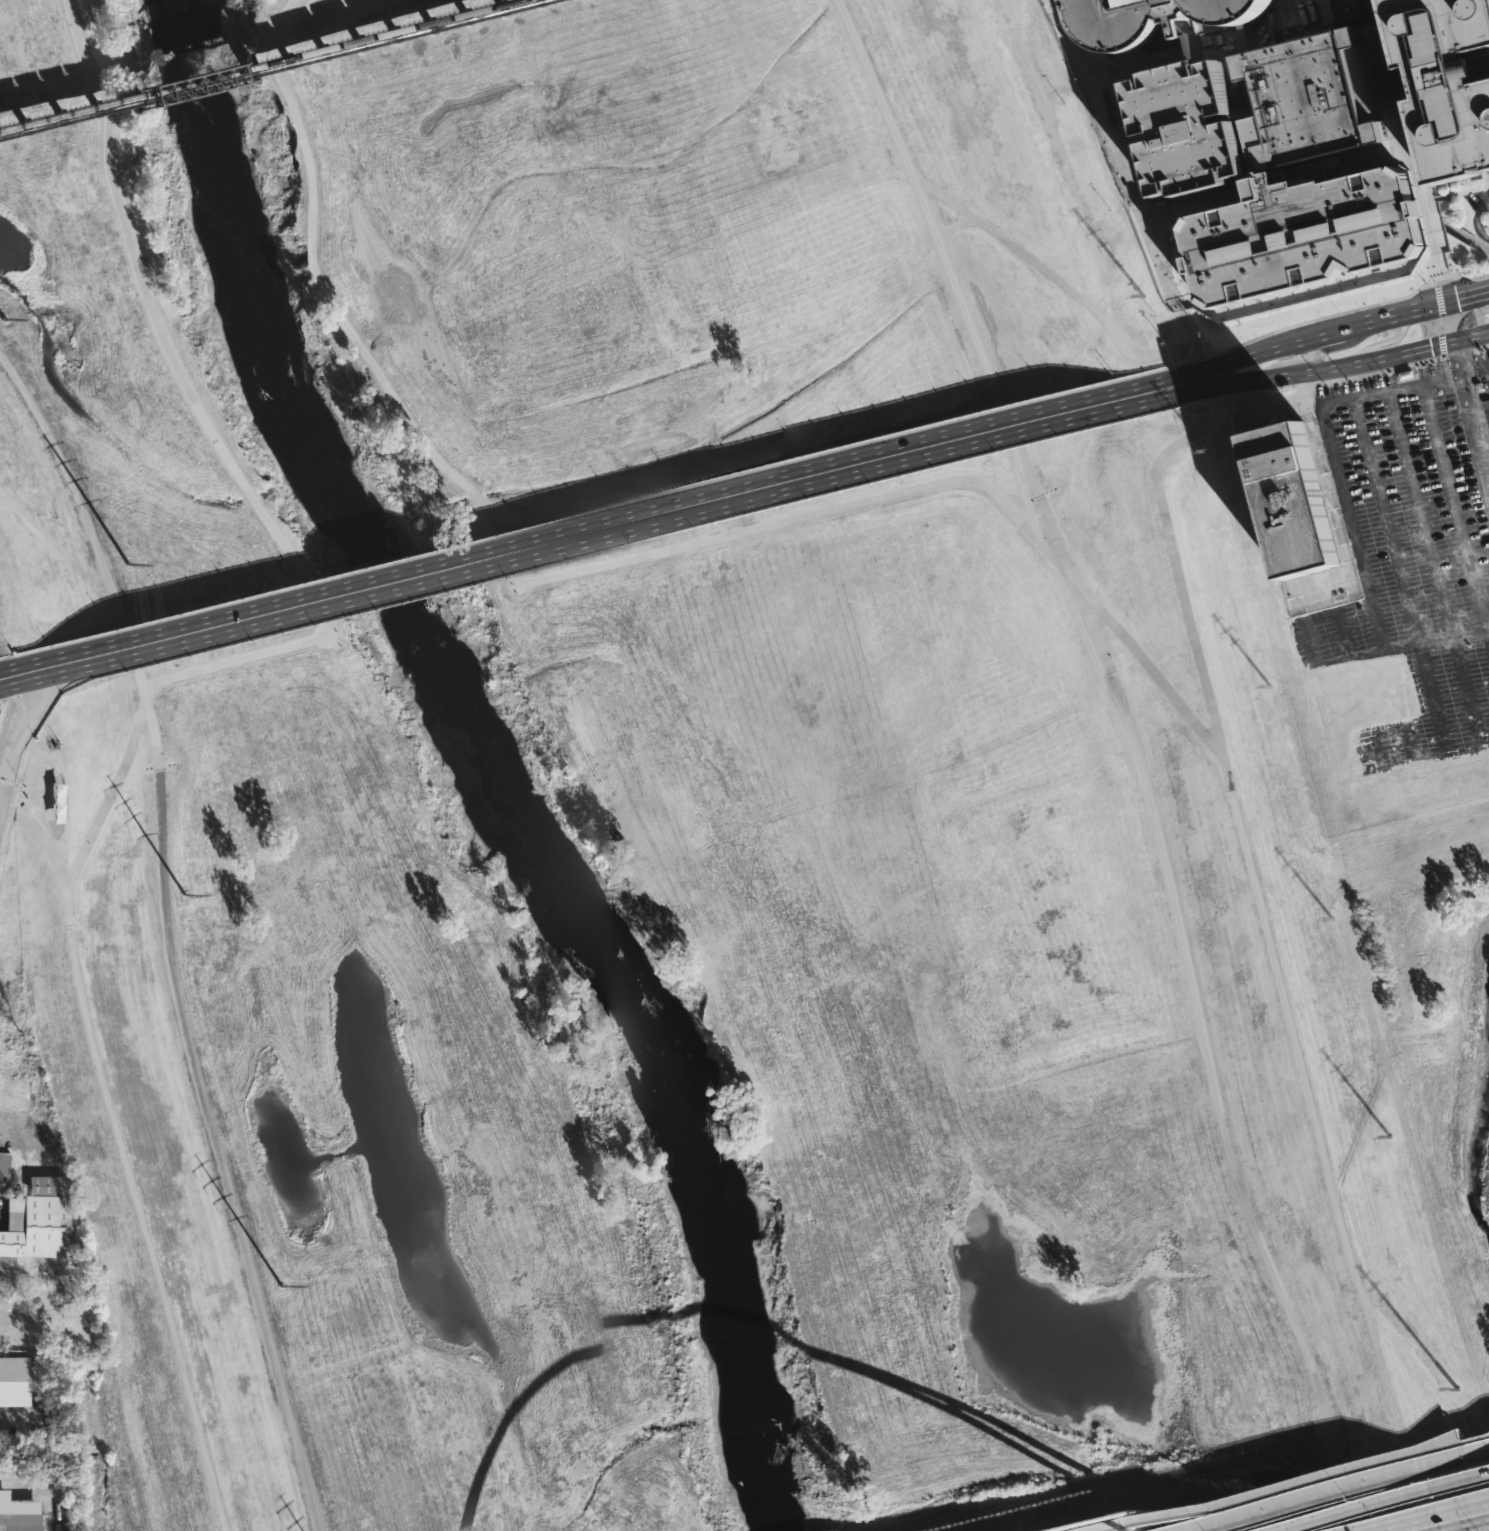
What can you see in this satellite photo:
building: (1334, 0)
river: (185, 7)
building: (1159, 20)
building: (1197, 49)
railway: (253, 63)
railway: (271, 68)
building: (1435, 87)
building: (1300, 113)
building: (1162, 136)
road: (1125, 193)
road: (1476, 221)
road: (955, 225)
building: (1294, 240)
road: (940, 247)
road: (1053, 276)
road: (1434, 286)
power tower: (1146, 298)
road: (1394, 312)
road: (1469, 316)
power tower: (3, 319)
road: (1382, 342)
road: (1304, 354)
road: (1260, 355)
road: (1355, 361)
road: (1200, 380)
road: (1473, 399)
road: (1200, 430)
road: (1331, 446)
power tower: (1207, 453)
road: (71, 481)
building: (1292, 501)
road: (1456, 508)
parking lot: (1407, 514)
road: (1421, 515)
road: (1387, 521)
road: (617, 525)
road: (284, 546)
road: (65, 551)
power tower: (126, 563)
road: (613, 564)
road: (1075, 584)
road: (1303, 620)
road: (1195, 633)
road: (1418, 644)
road: (27, 671)
power tower: (1270, 689)
road: (145, 691)
road: (23, 734)
river: (497, 760)
park: (685, 814)
power tower: (183, 894)
road: (66, 902)
power tower: (1330, 920)
road: (1216, 1105)
power tower: (1390, 1135)
road: (219, 1152)
road: (1328, 1162)
building: (4, 1167)
building: (39, 1221)
power tower: (282, 1286)
road: (1426, 1375)
building: (18, 1380)
power tower: (1459, 1388)
road: (10, 1423)
road: (1261, 1486)
road: (1330, 1486)
road: (1385, 1499)
road: (1482, 1511)
road: (1482, 1512)
building: (19, 1514)
road: (1438, 1522)
road: (1274, 1528)

